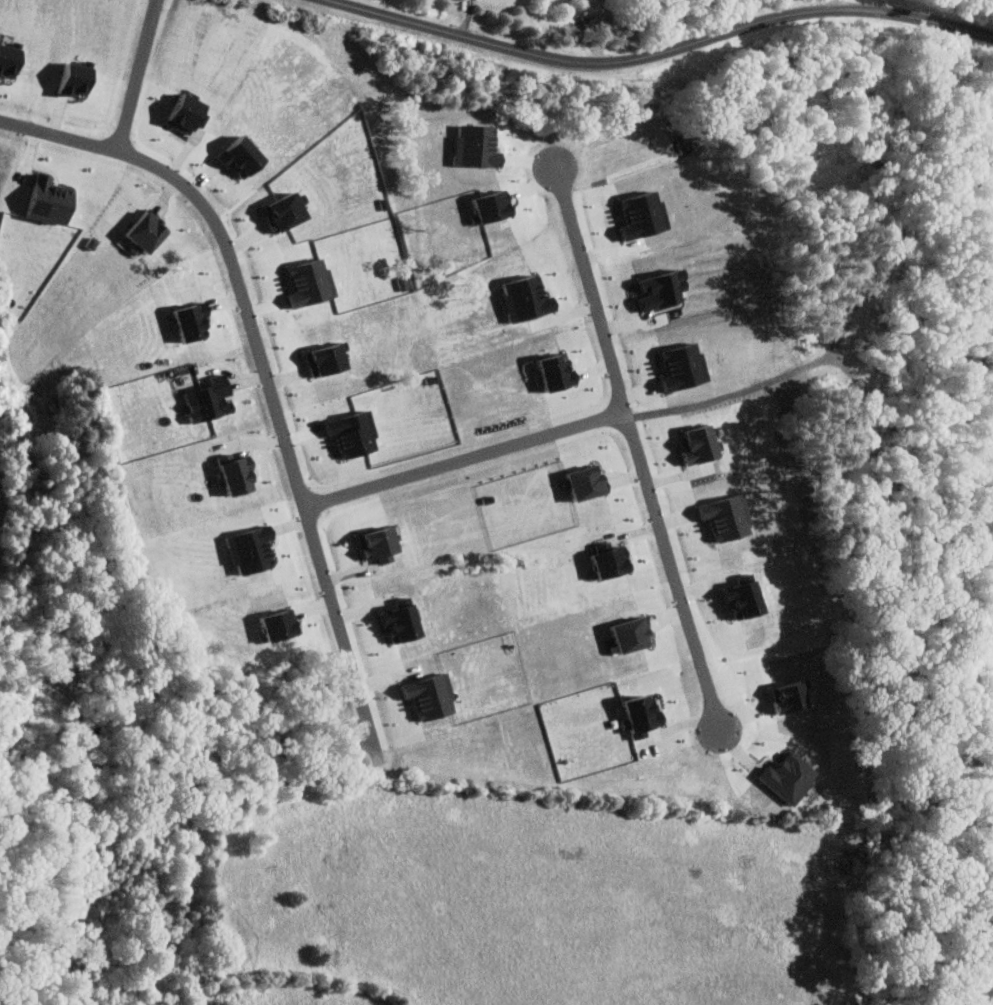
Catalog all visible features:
road: (836, 7)
road: (467, 20)
building: (6, 60)
road: (650, 60)
building: (66, 79)
road: (125, 136)
road: (592, 295)
building: (184, 319)
building: (201, 399)
road: (280, 421)
road: (587, 426)
building: (224, 476)
road: (672, 570)

